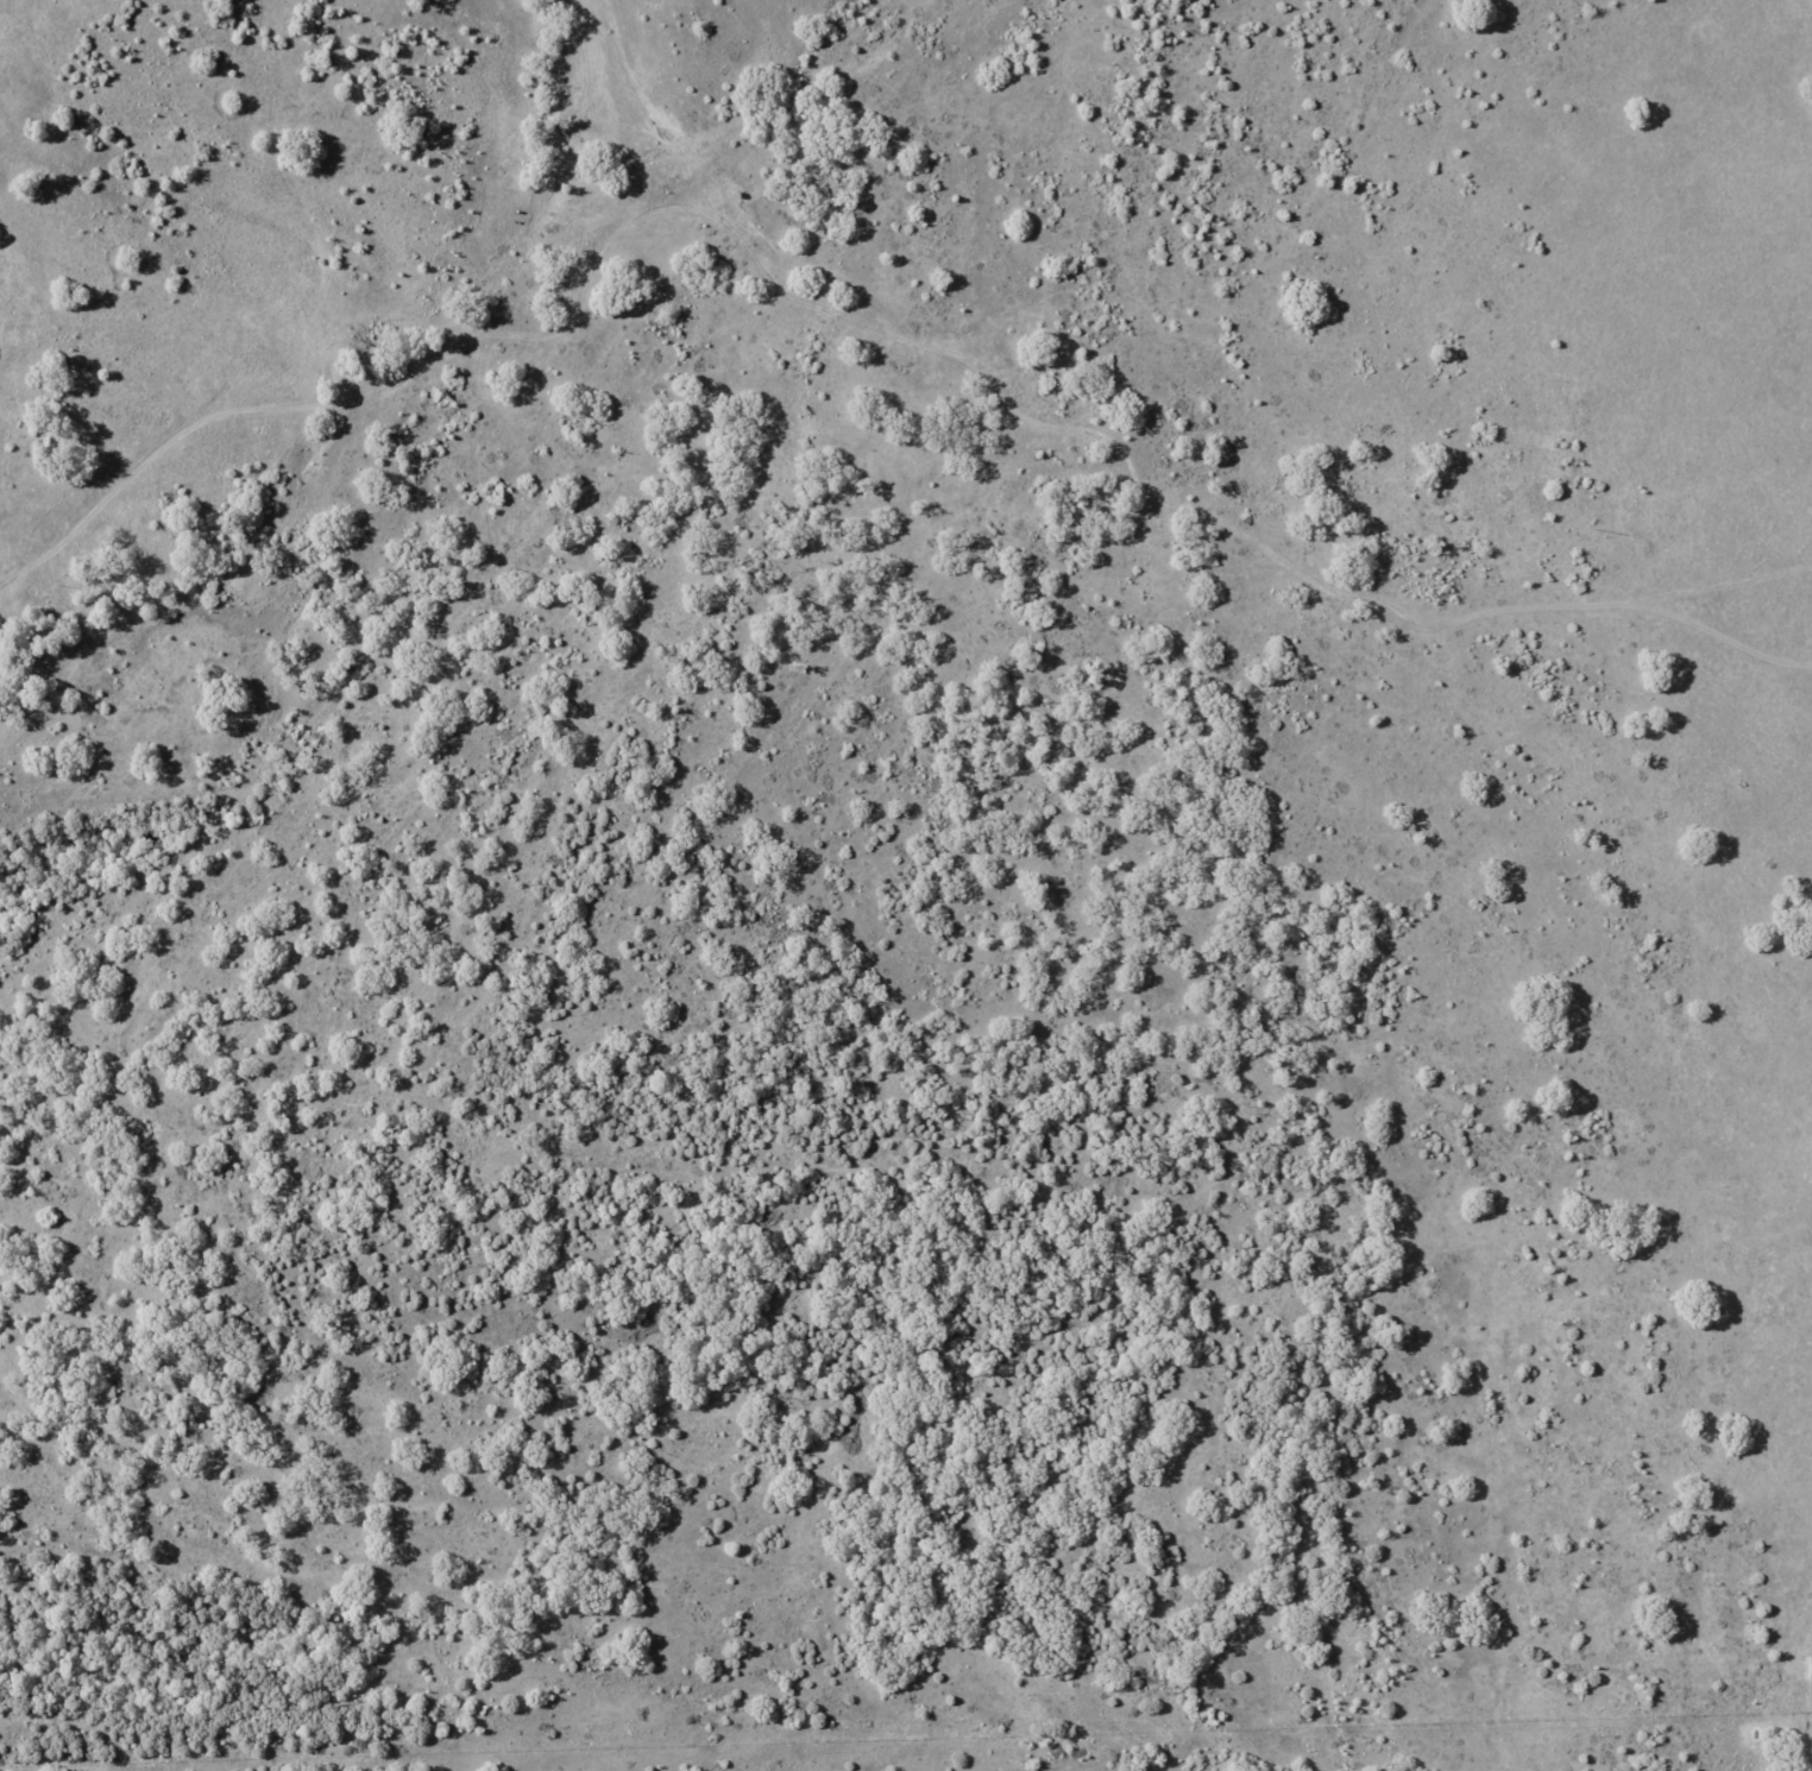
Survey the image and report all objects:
building: (1811, 1666)

